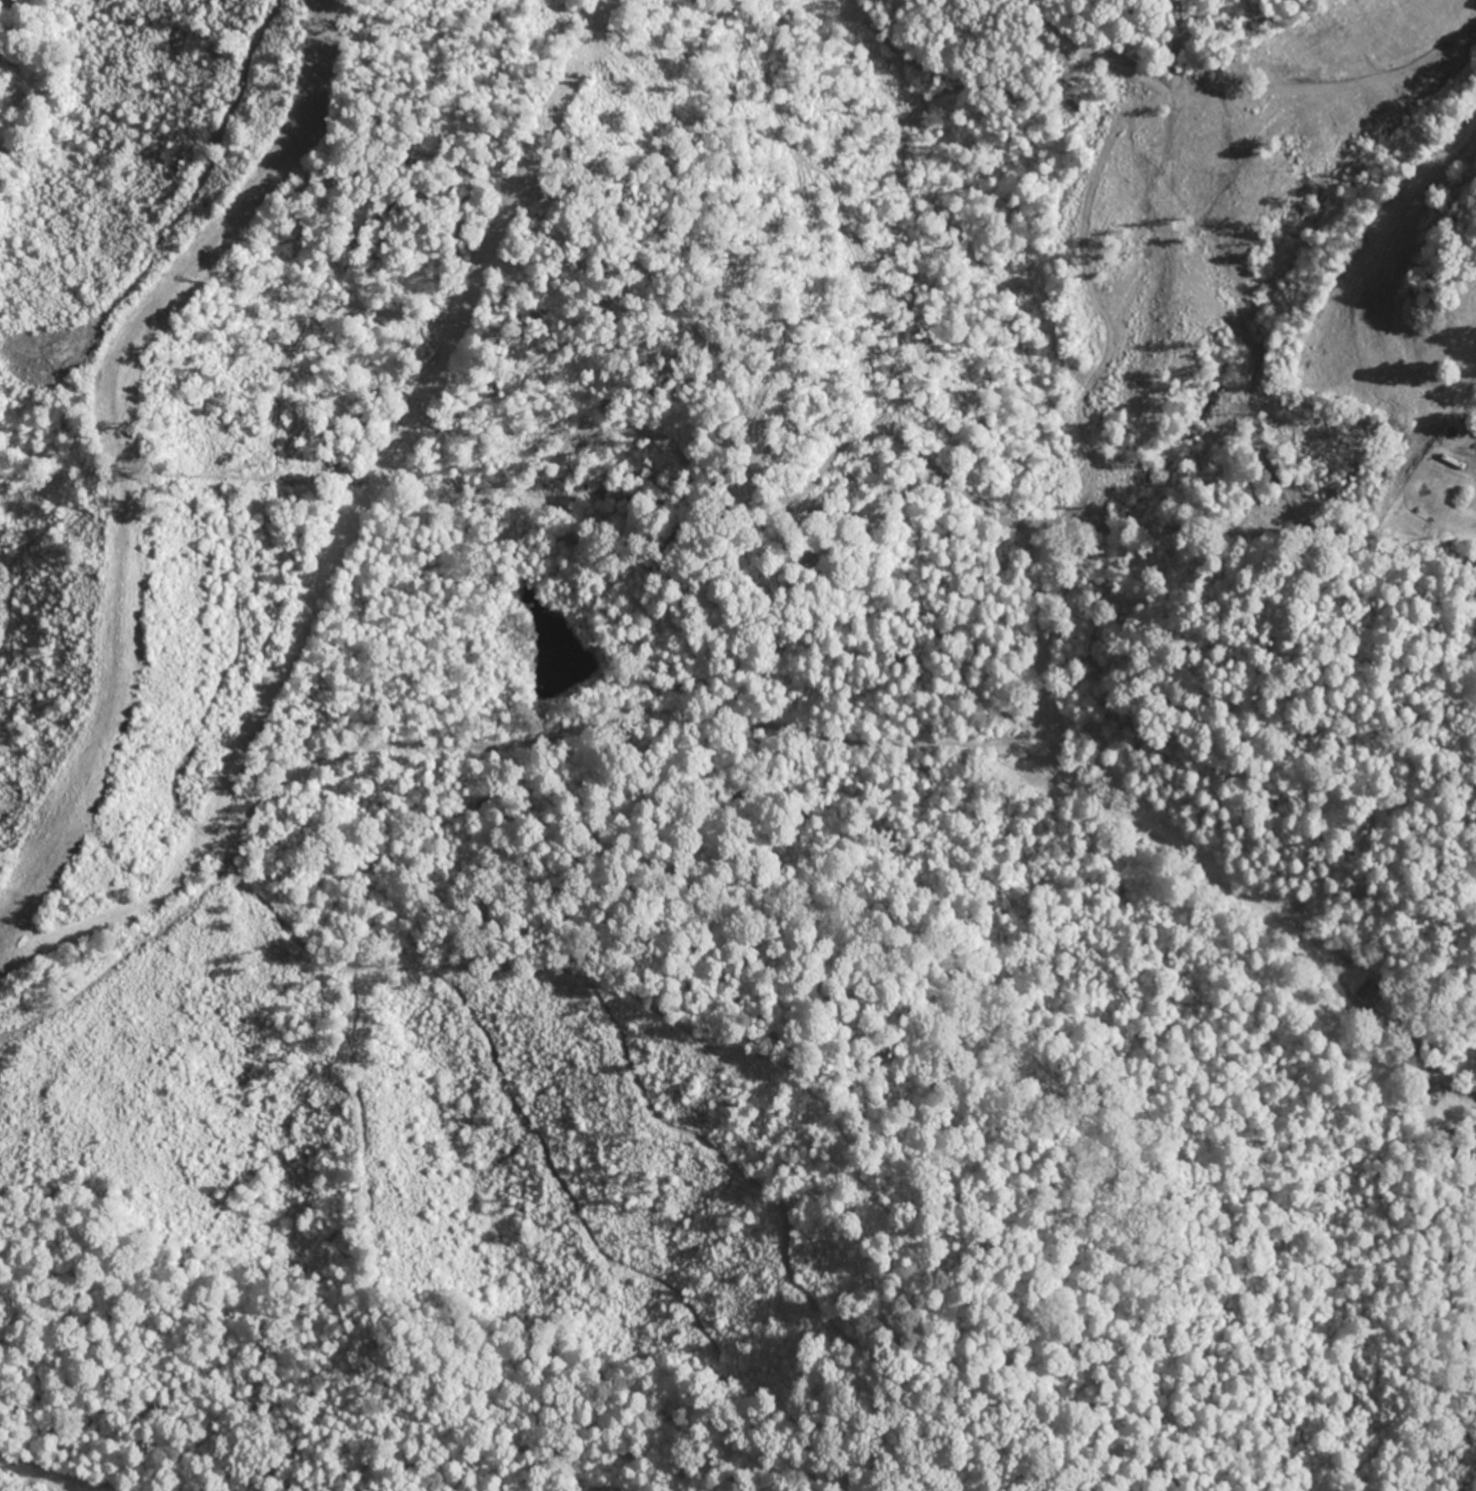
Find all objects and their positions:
building: (1367, 993)

